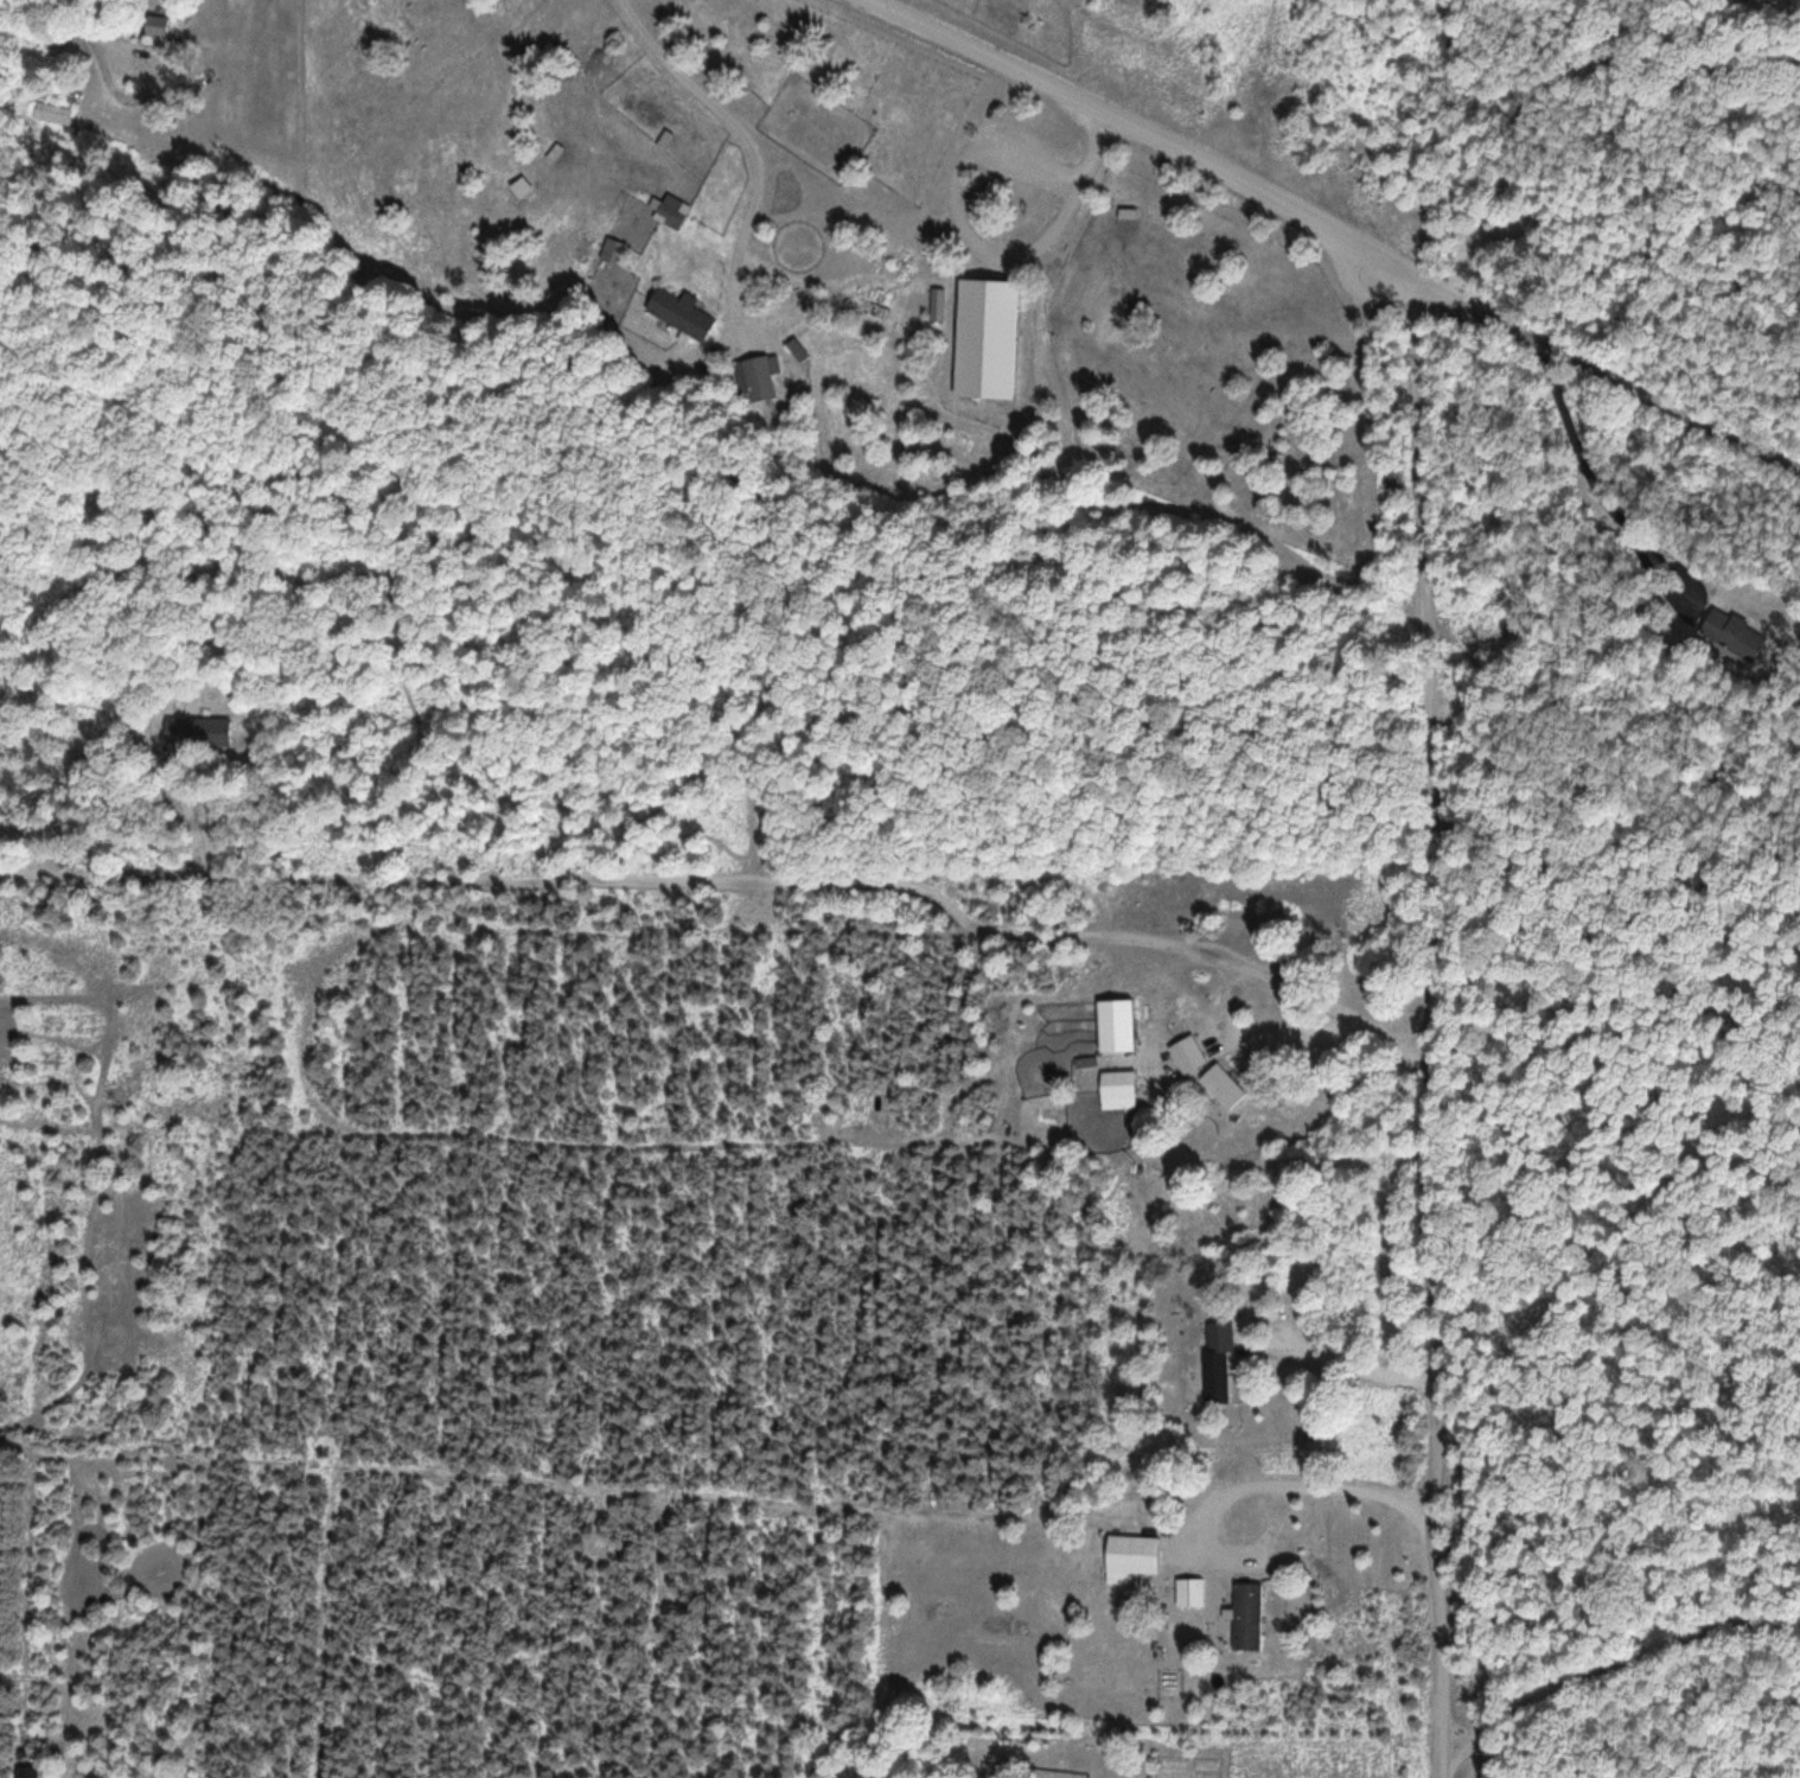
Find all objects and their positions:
building: (1769, 1)
building: (167, 24)
road: (1145, 130)
building: (677, 211)
building: (684, 311)
road: (1604, 370)
building: (759, 378)
building: (1734, 633)
road: (1432, 681)
building: (204, 731)
road: (743, 887)
building: (1125, 1085)
building: (1215, 1362)
road: (1441, 1429)
building: (1130, 1557)
building: (1189, 1591)
building: (1243, 1614)
building: (37, 1773)

